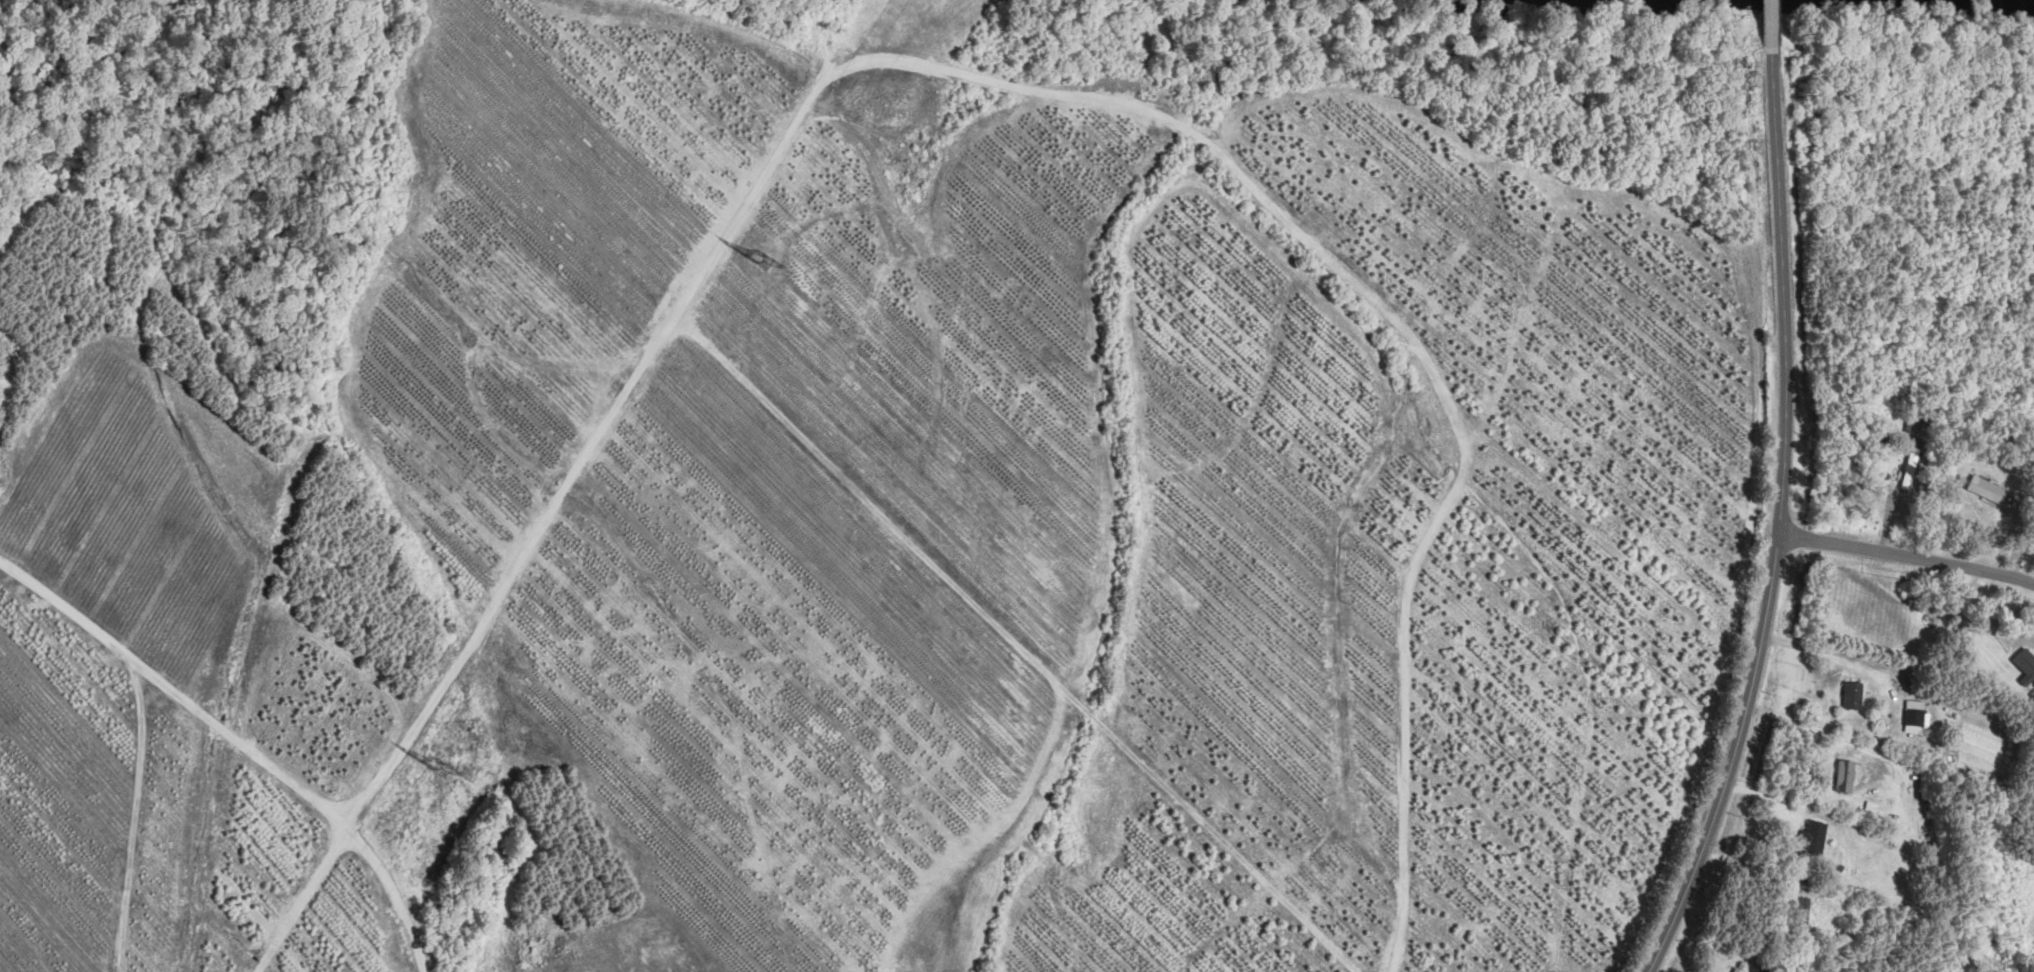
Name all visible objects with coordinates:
river: (2026, 2)
road: (1770, 27)
power tower: (765, 259)
building: (1986, 488)
road: (1781, 523)
road: (1908, 557)
road: (1813, 650)
building: (2025, 665)
building: (1852, 694)
building: (1914, 715)
road: (1888, 756)
power tower: (441, 767)
building: (1844, 775)
building: (1813, 837)

